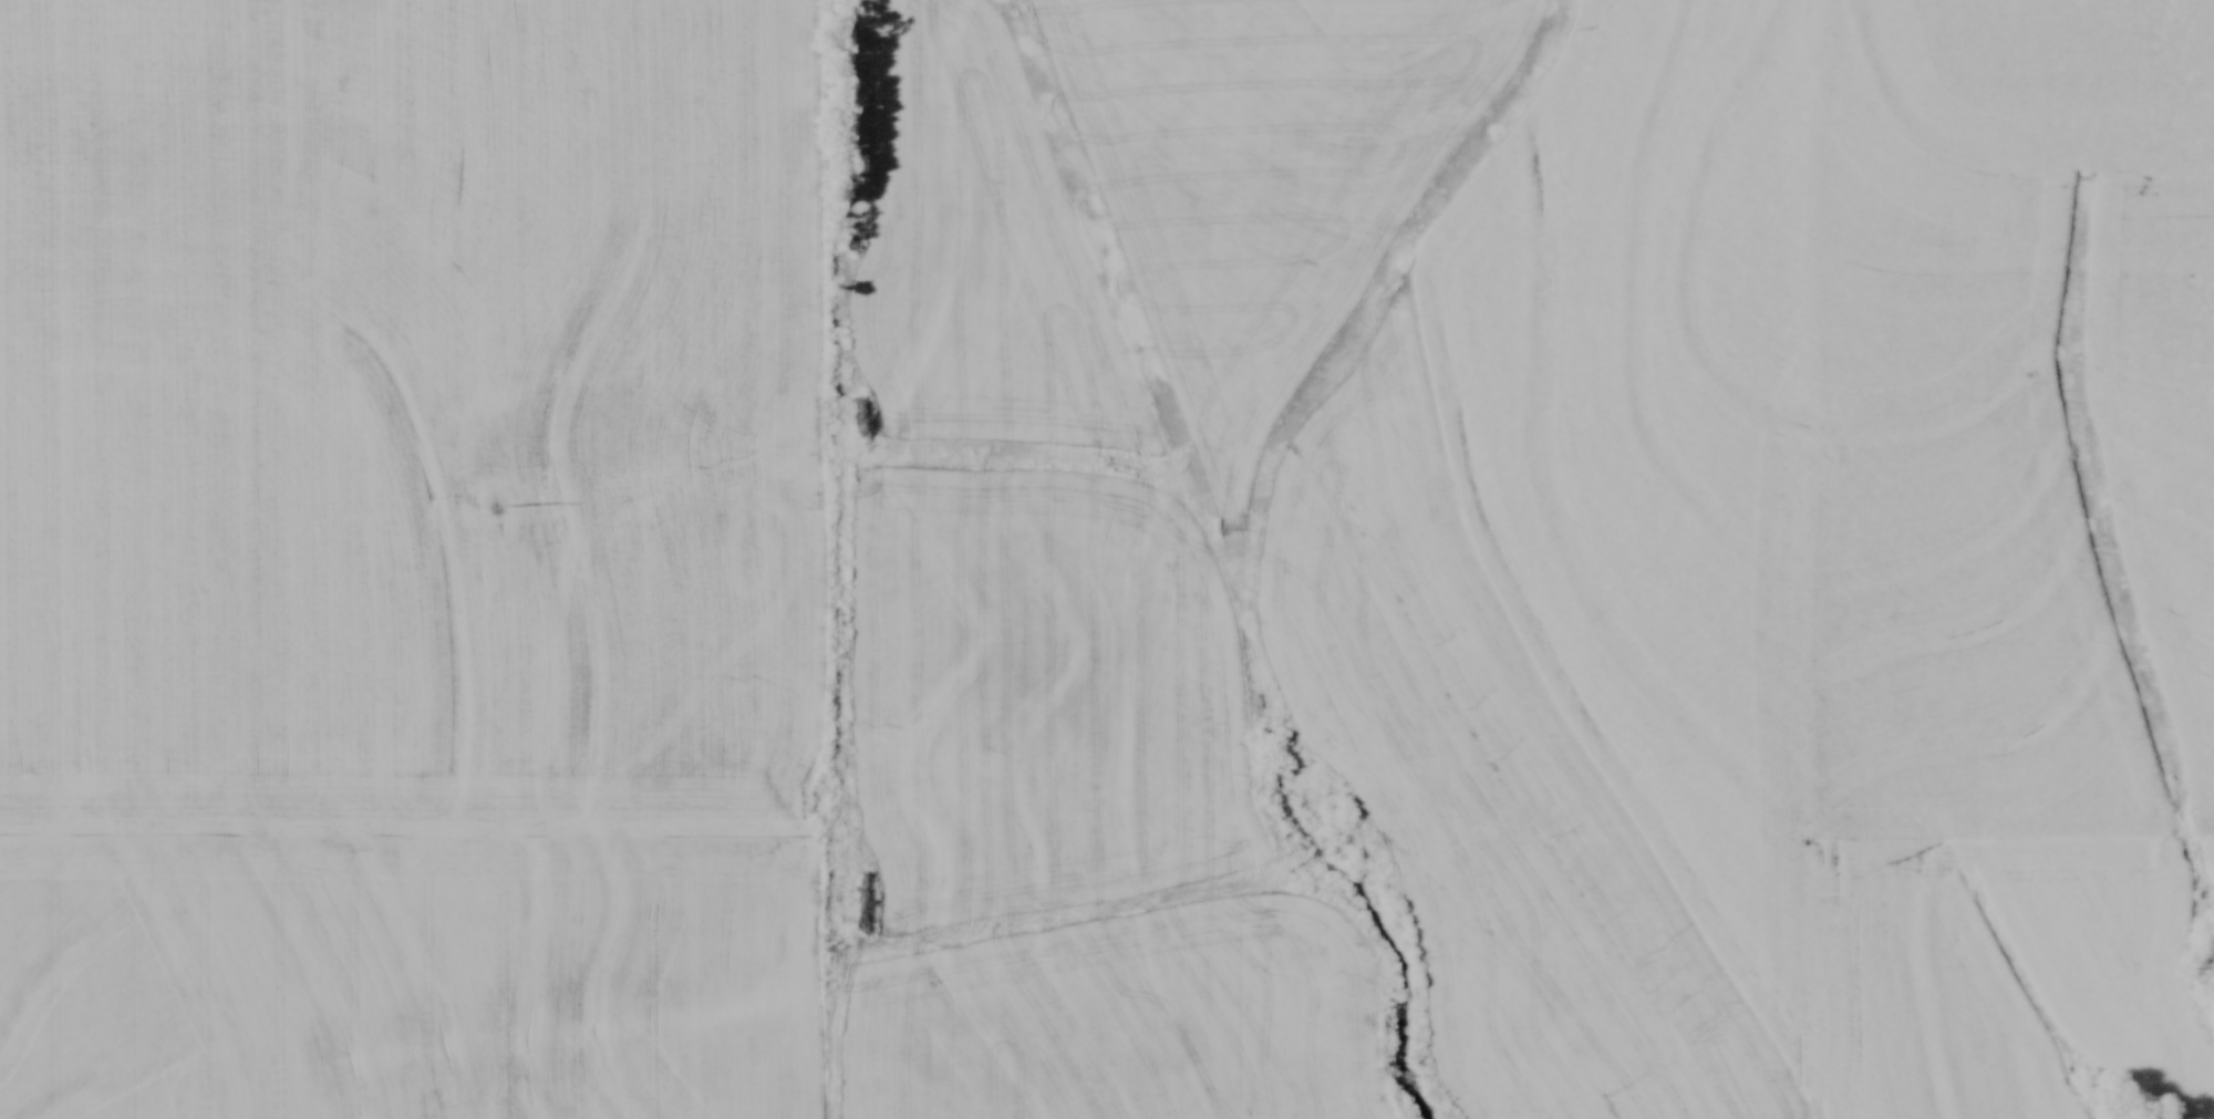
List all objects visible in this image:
power tower: (489, 504)

